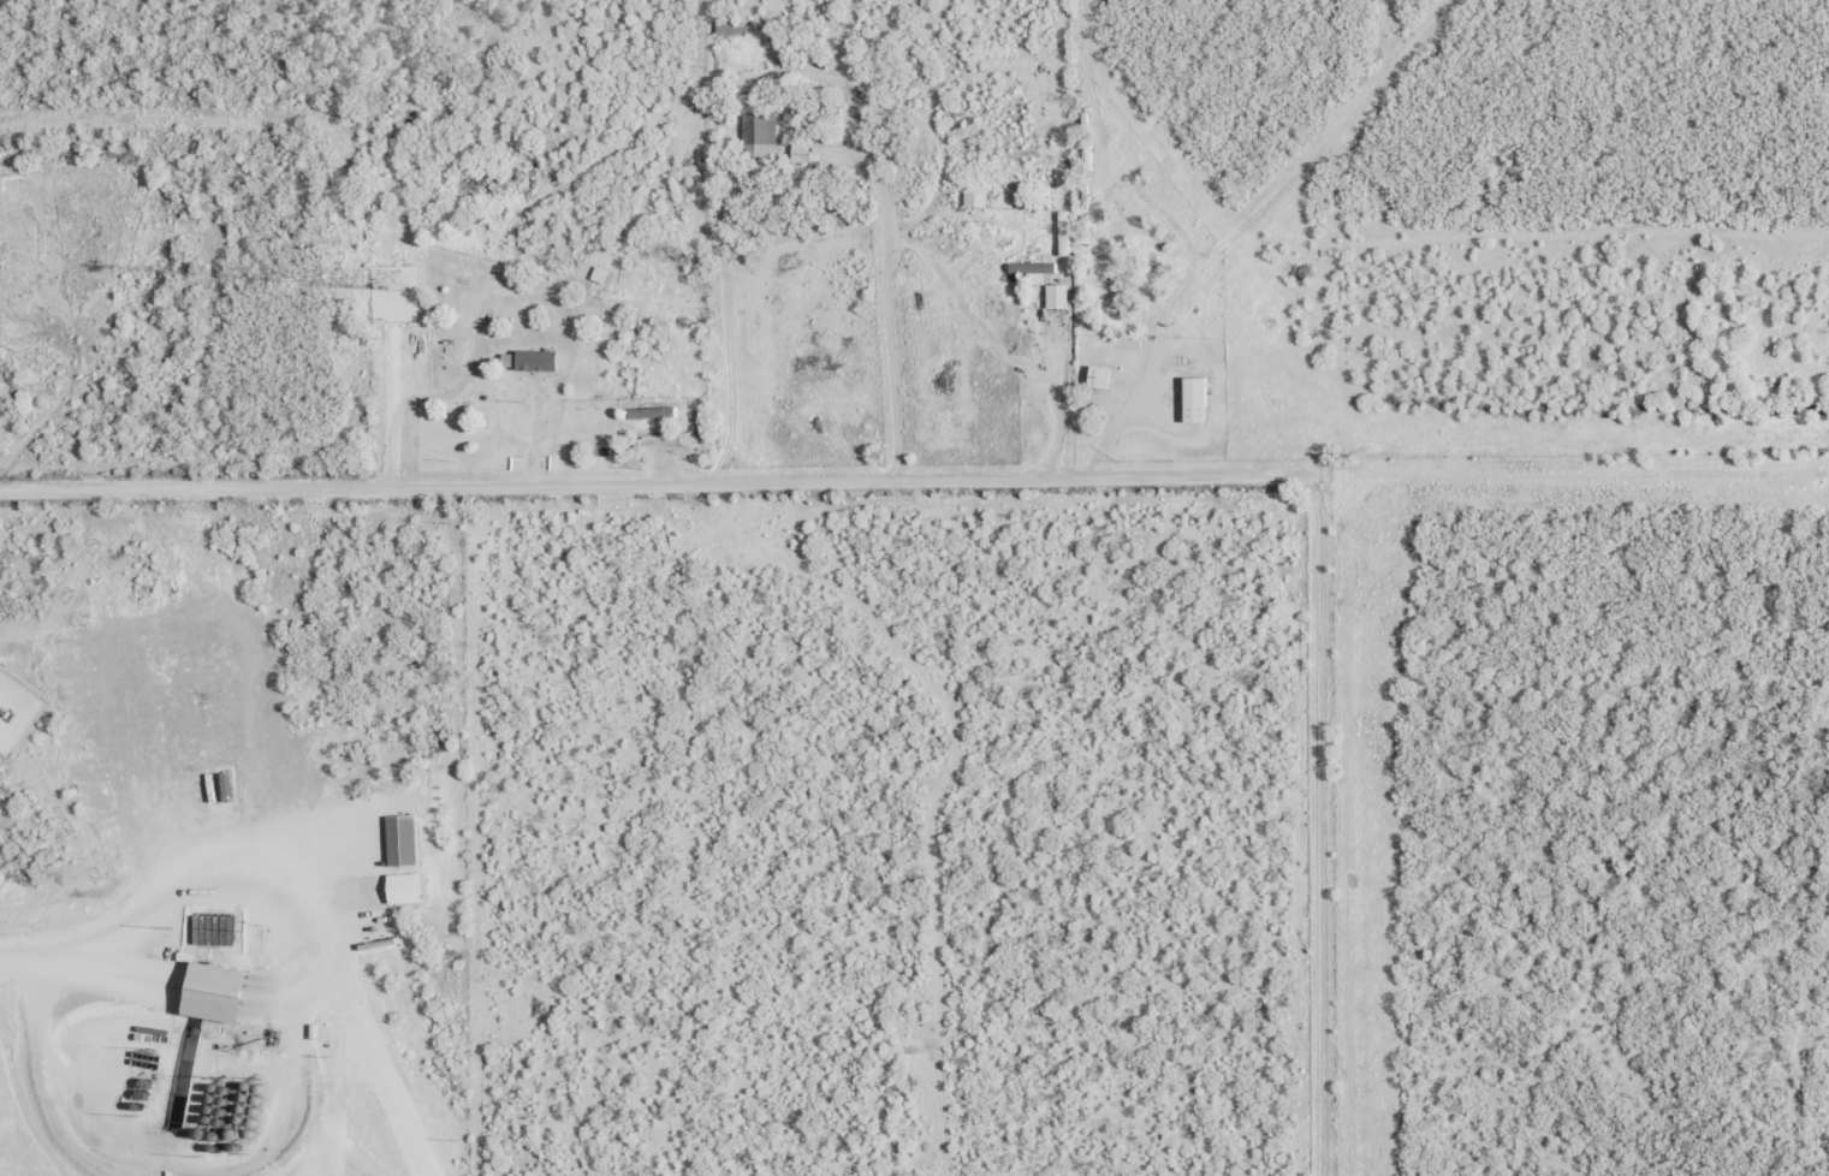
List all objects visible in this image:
building: (758, 133)
building: (975, 194)
building: (1028, 267)
building: (409, 285)
building: (1098, 376)
building: (1193, 400)
road: (1567, 474)
road: (652, 487)
road: (1317, 824)

